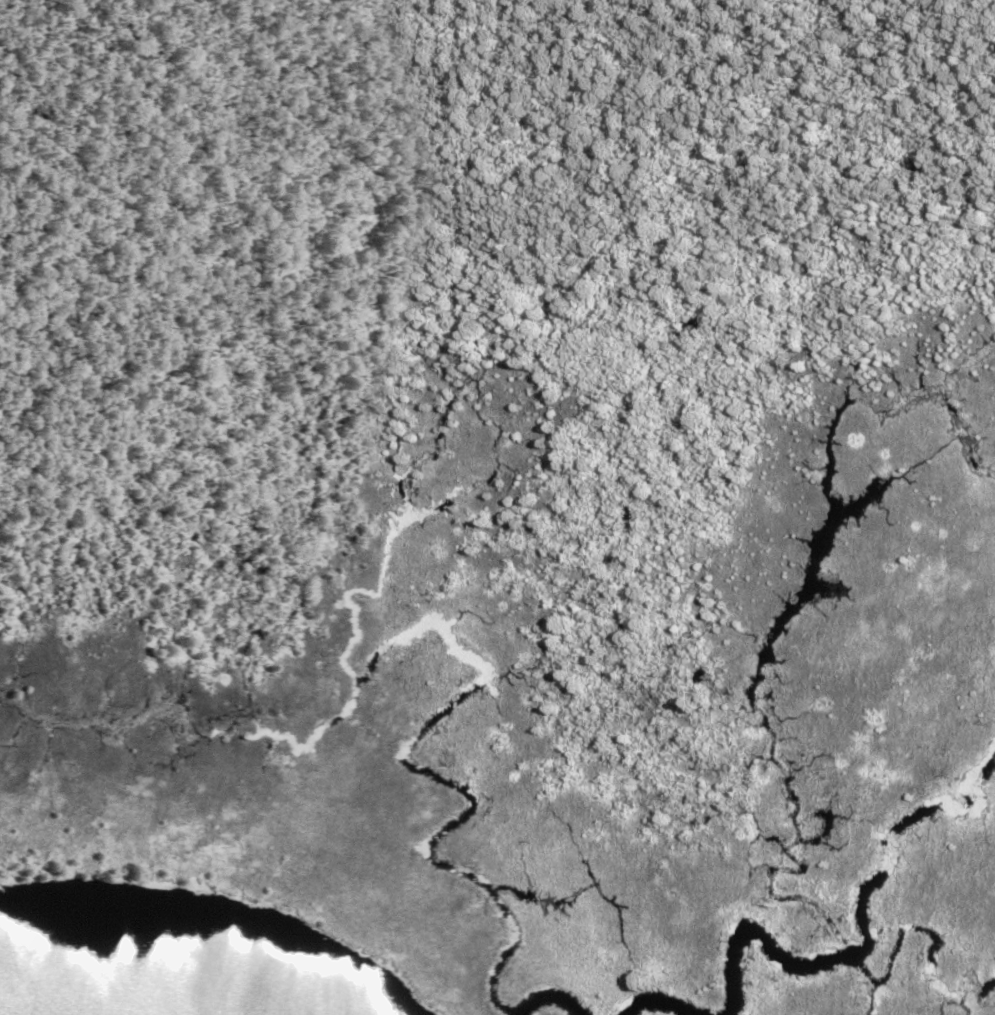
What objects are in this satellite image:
river: (100, 1009)

